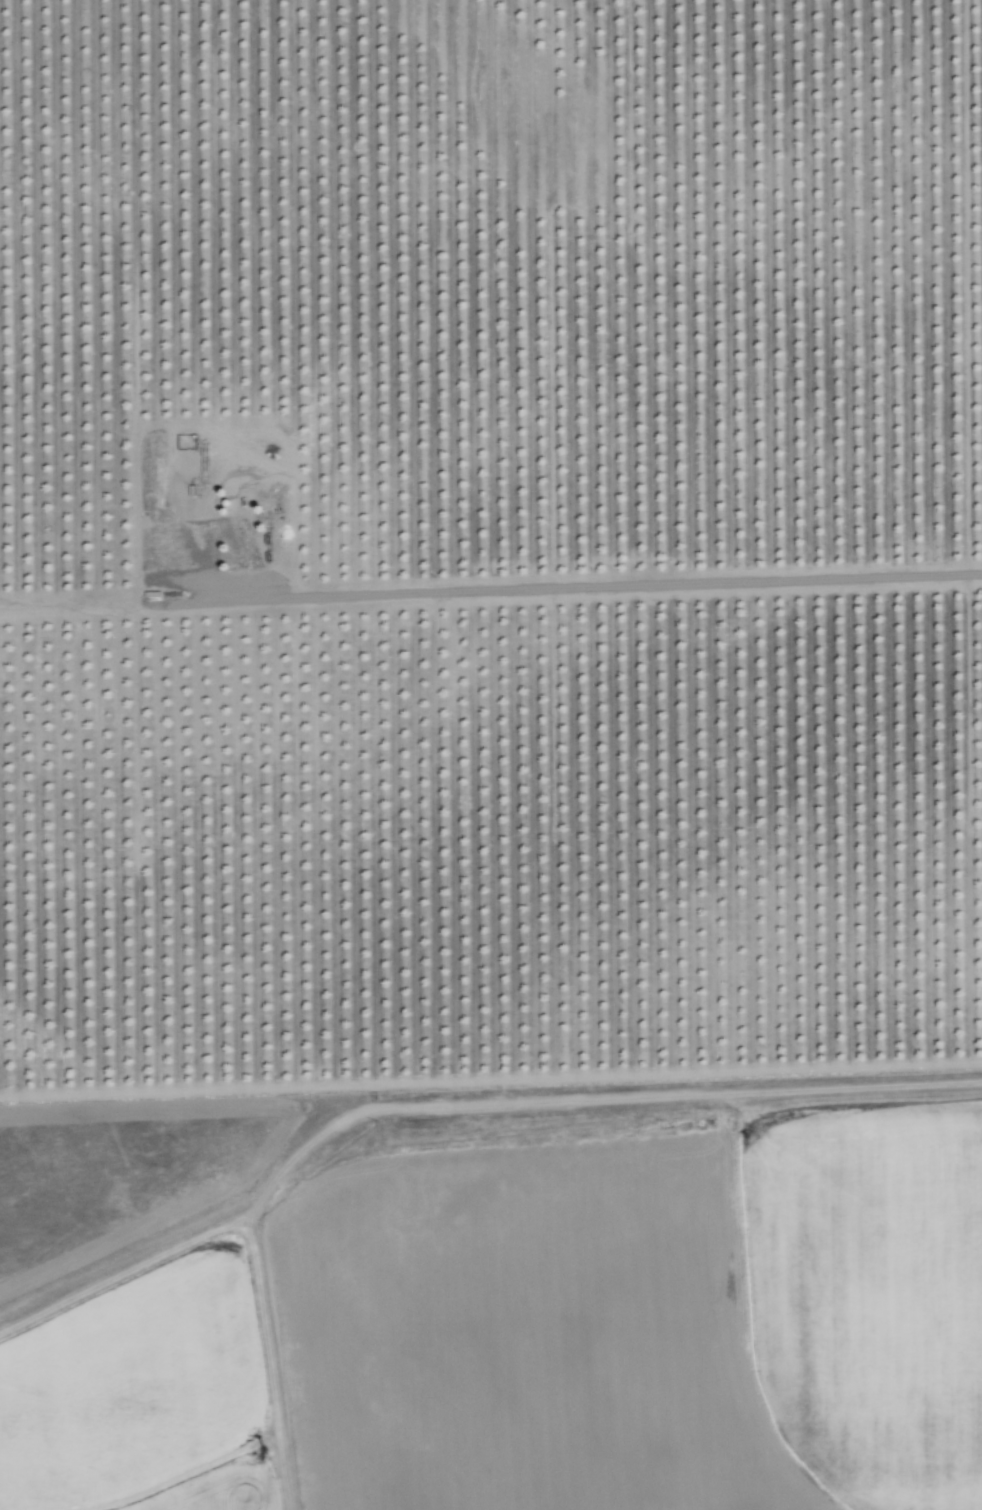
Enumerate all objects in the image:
road: (608, 588)
road: (491, 1081)
road: (471, 1143)

